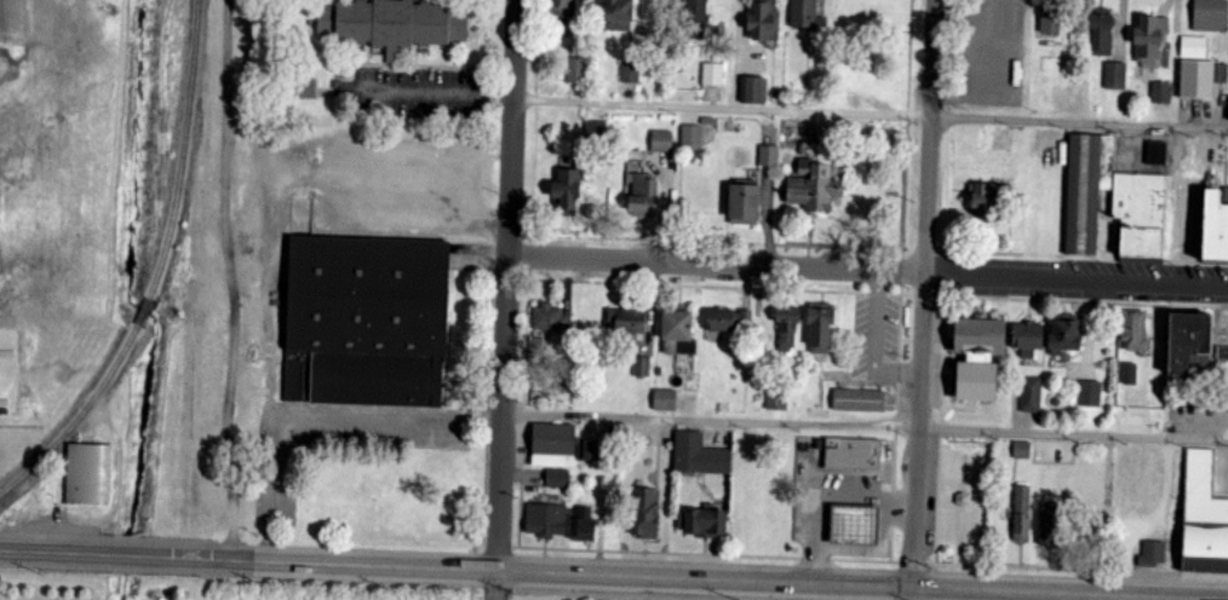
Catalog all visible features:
railway: (195, 5)
building: (562, 7)
building: (696, 11)
building: (616, 16)
building: (1210, 16)
building: (764, 21)
building: (1050, 22)
building: (398, 25)
building: (1101, 31)
building: (1149, 42)
road: (538, 45)
building: (1193, 47)
building: (575, 70)
building: (630, 73)
building: (712, 74)
building: (1115, 76)
building: (1197, 79)
building: (308, 88)
building: (756, 90)
building: (1161, 92)
parking lot: (403, 94)
road: (442, 96)
road: (871, 115)
building: (692, 135)
building: (662, 140)
railway: (182, 152)
building: (1158, 154)
building: (769, 155)
building: (814, 186)
building: (567, 189)
building: (1086, 189)
building: (643, 196)
building: (983, 201)
building: (744, 202)
building: (1140, 213)
building: (1215, 226)
road: (843, 248)
road: (903, 250)
road: (925, 250)
road: (948, 252)
road: (1035, 254)
road: (871, 272)
road: (902, 272)
road: (949, 275)
road: (511, 284)
road: (902, 295)
road: (925, 295)
road: (947, 295)
road: (926, 300)
railway: (144, 308)
building: (365, 318)
building: (551, 319)
building: (729, 319)
building: (626, 321)
building: (821, 327)
building: (787, 328)
building: (1132, 330)
building: (677, 331)
building: (1221, 335)
building: (1063, 337)
building: (1027, 339)
building: (1189, 342)
building: (977, 357)
building: (642, 367)
road: (954, 368)
building: (1130, 373)
road: (956, 380)
road: (953, 393)
building: (1031, 393)
building: (1090, 393)
building: (665, 400)
building: (859, 400)
building: (776, 403)
road: (960, 409)
railway: (82, 412)
road: (866, 423)
road: (940, 426)
building: (553, 445)
building: (1022, 450)
building: (853, 454)
building: (699, 455)
gas station: (851, 455)
road: (964, 473)
parking lot: (1220, 474)
building: (87, 475)
building: (557, 478)
railway: (5, 492)
road: (947, 498)
building: (962, 498)
building: (1020, 513)
building: (647, 514)
building: (1203, 517)
building: (546, 520)
building: (706, 521)
building: (1051, 523)
building: (583, 524)
building: (854, 525)
gas station: (855, 525)
road: (959, 536)
road: (56, 548)
road: (131, 552)
building: (1153, 554)
road: (888, 561)
road: (895, 562)
road: (912, 562)
road: (931, 564)
road: (1081, 570)
road: (679, 577)
road: (494, 584)

